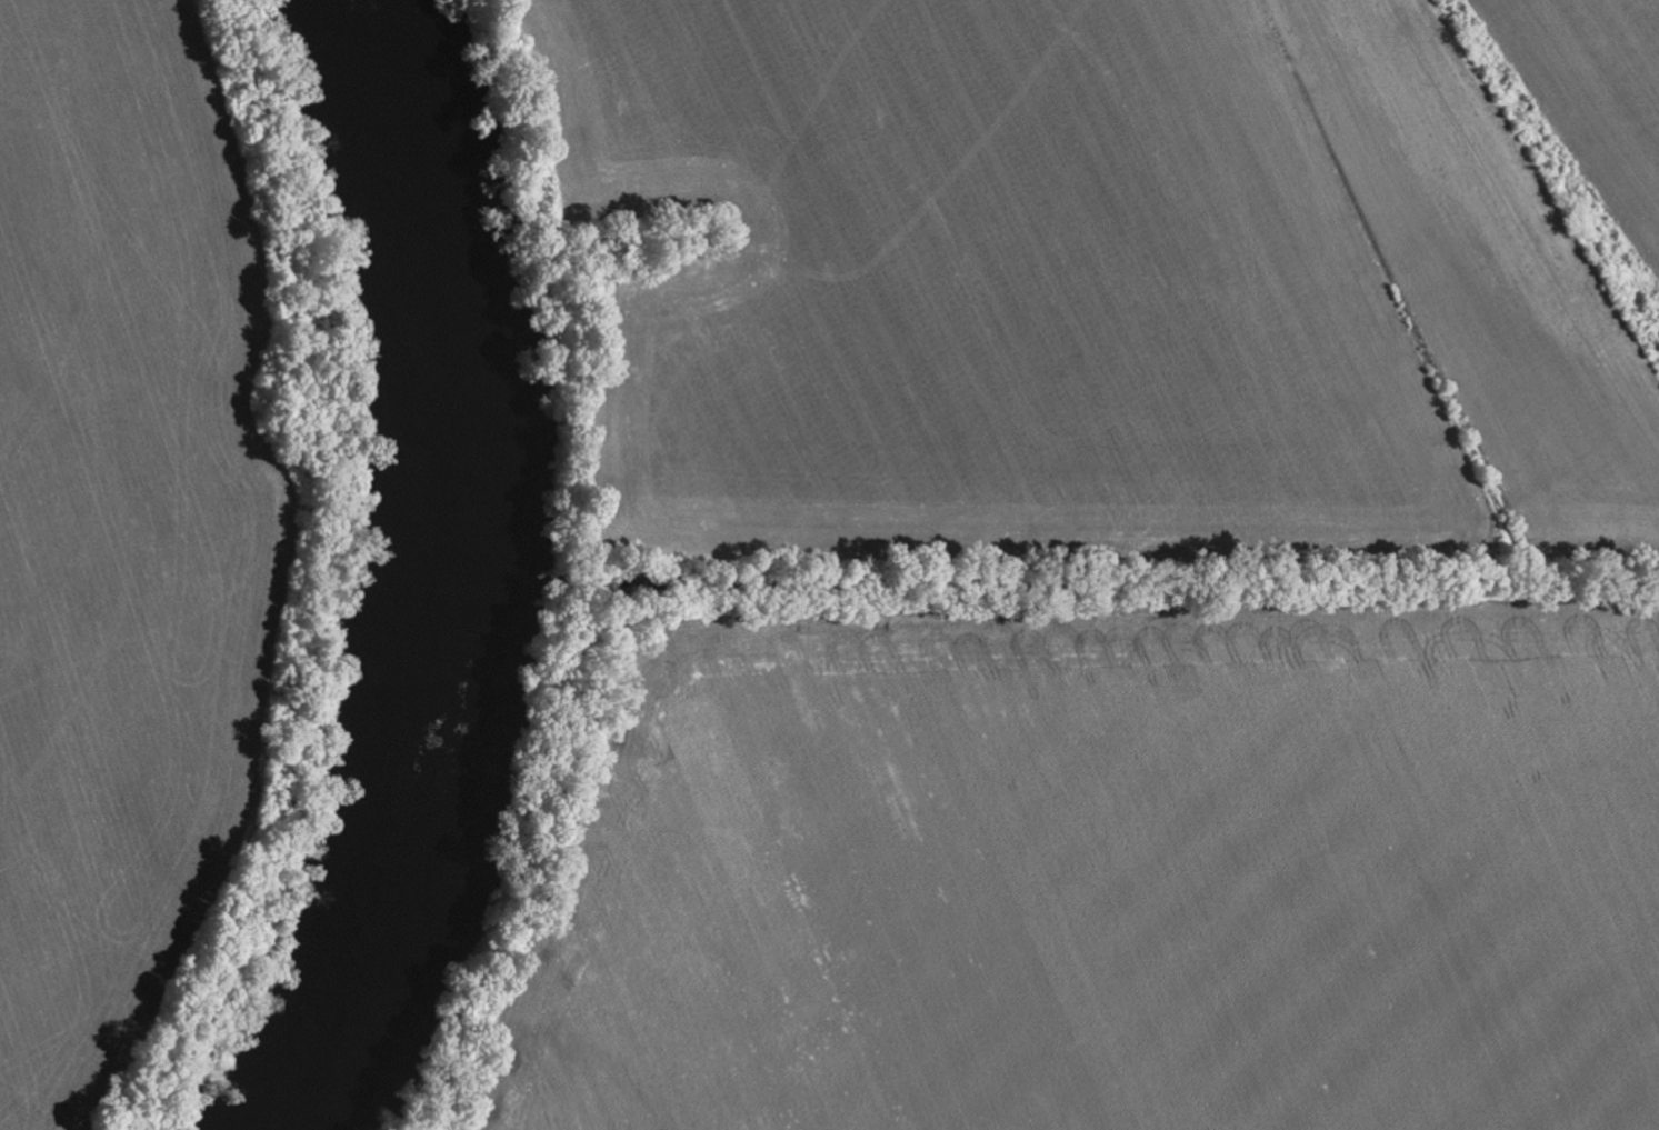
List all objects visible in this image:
river: (411, 571)

